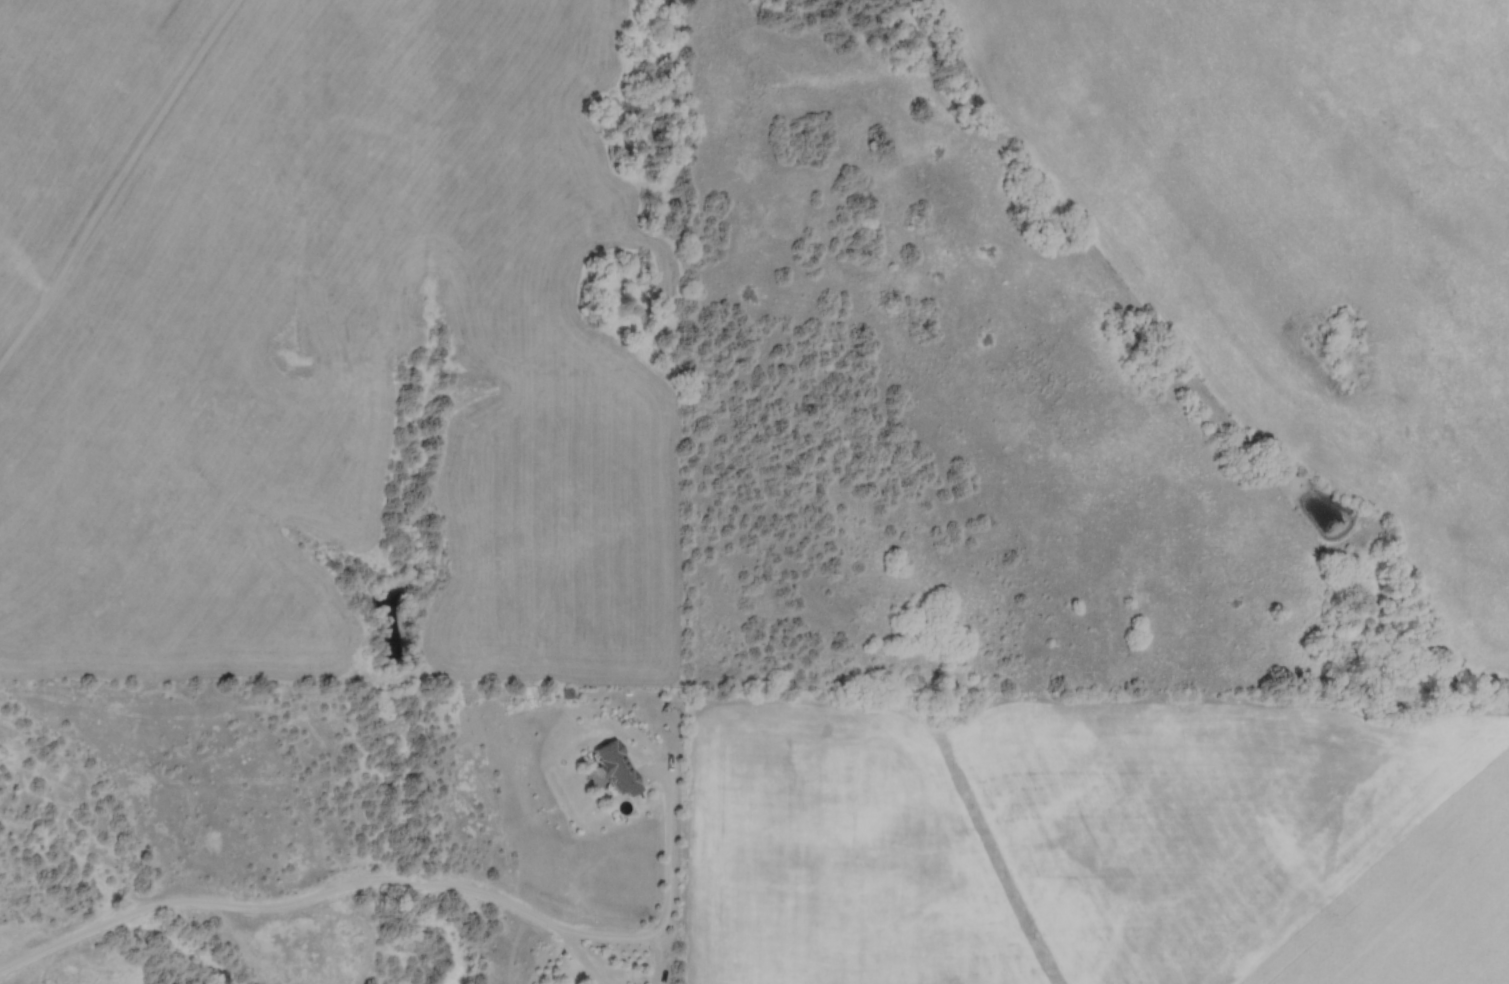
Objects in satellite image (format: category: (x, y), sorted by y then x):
road: (120, 186)
building: (617, 769)
road: (405, 880)
road: (578, 954)

